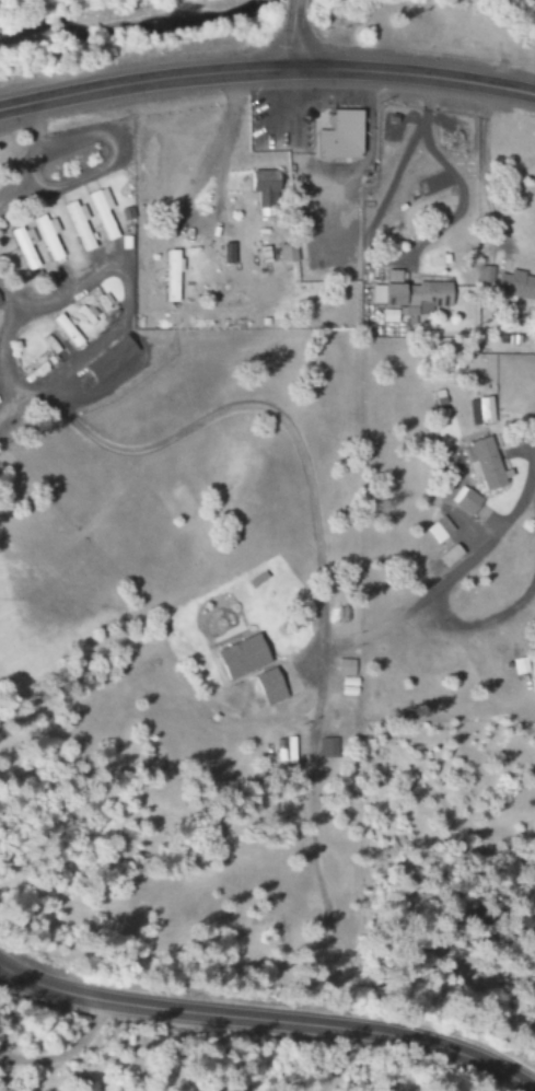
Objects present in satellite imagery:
road: (291, 11)
road: (288, 45)
road: (266, 69)
building: (335, 136)
building: (257, 182)
building: (103, 212)
building: (79, 224)
building: (48, 236)
building: (23, 248)
building: (282, 253)
building: (167, 277)
building: (513, 286)
building: (384, 290)
building: (423, 294)
building: (107, 359)
building: (477, 413)
road: (531, 448)
building: (478, 464)
building: (461, 500)
building: (435, 530)
building: (236, 658)
building: (516, 666)
building: (341, 668)
building: (265, 687)
building: (325, 748)
road: (269, 1020)
road: (65, 1054)
road: (344, 1061)

